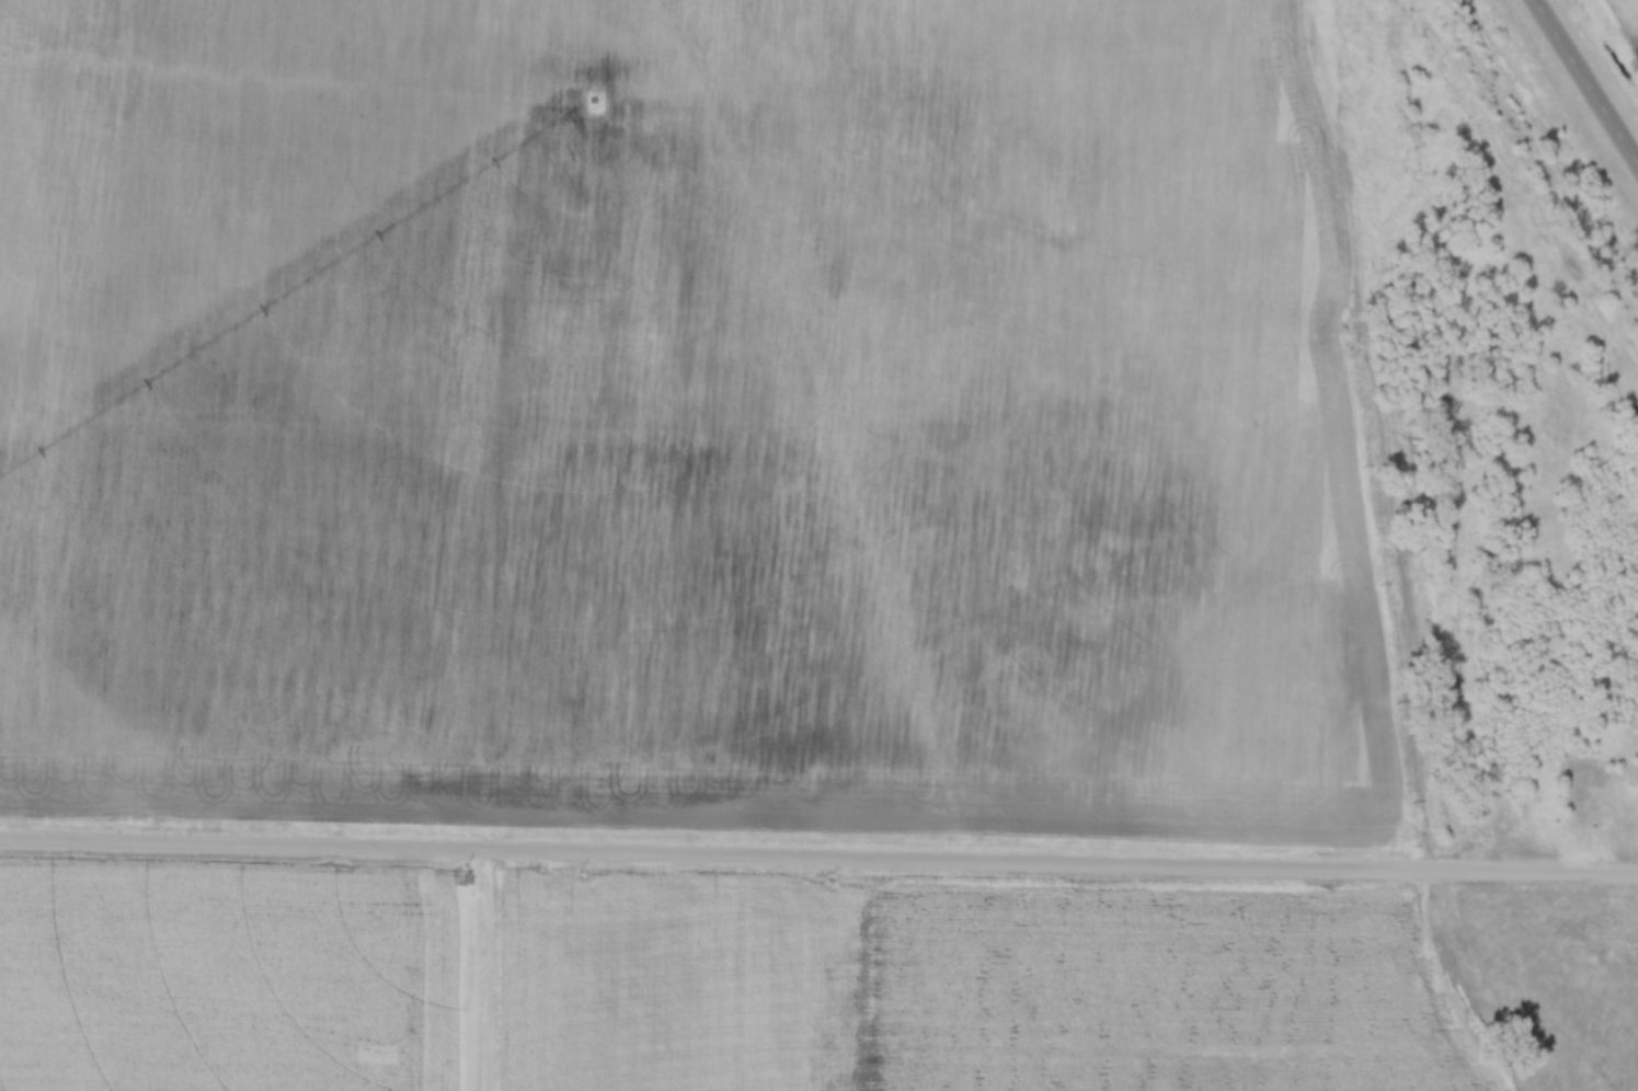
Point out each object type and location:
road: (1583, 84)
road: (818, 861)

